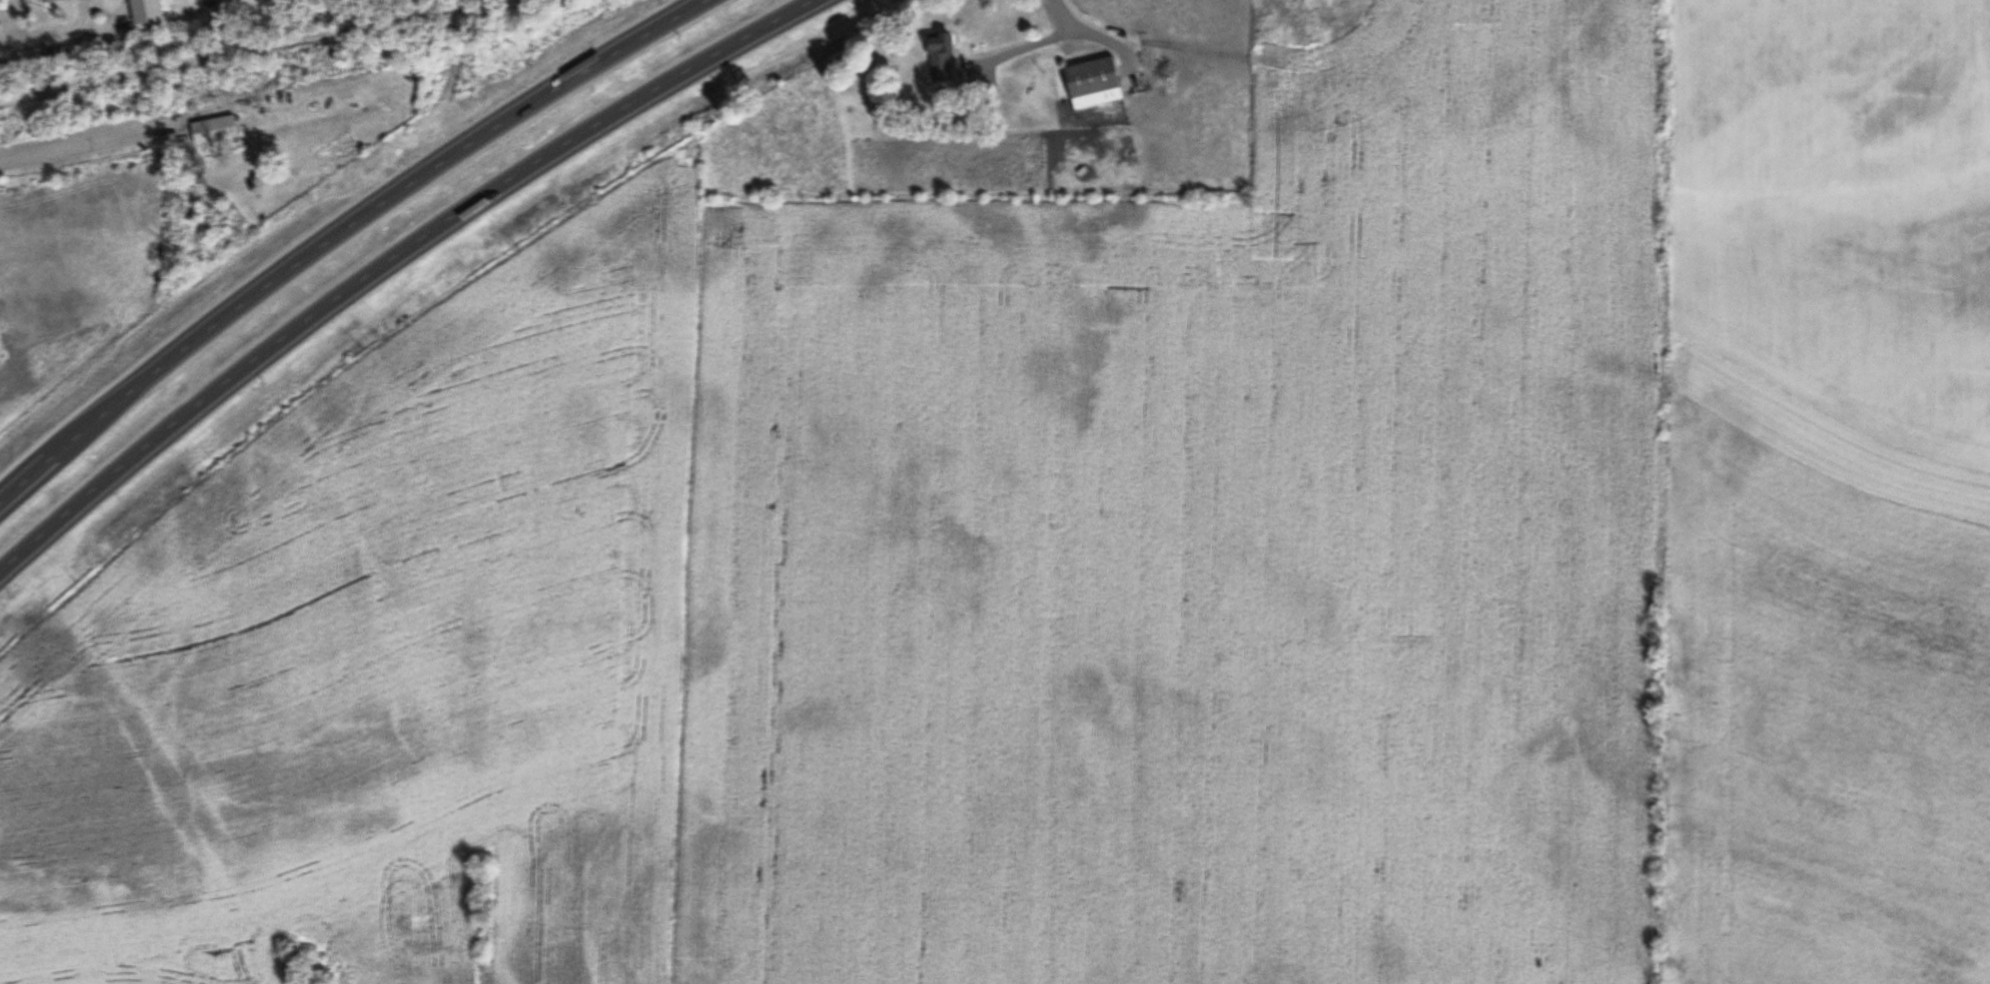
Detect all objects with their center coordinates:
building: (29, 0)
road: (1095, 30)
road: (68, 38)
road: (1028, 42)
road: (262, 51)
building: (938, 58)
building: (1092, 84)
building: (212, 130)
road: (80, 148)
building: (193, 179)
road: (345, 232)
road: (396, 263)
road: (17, 476)

